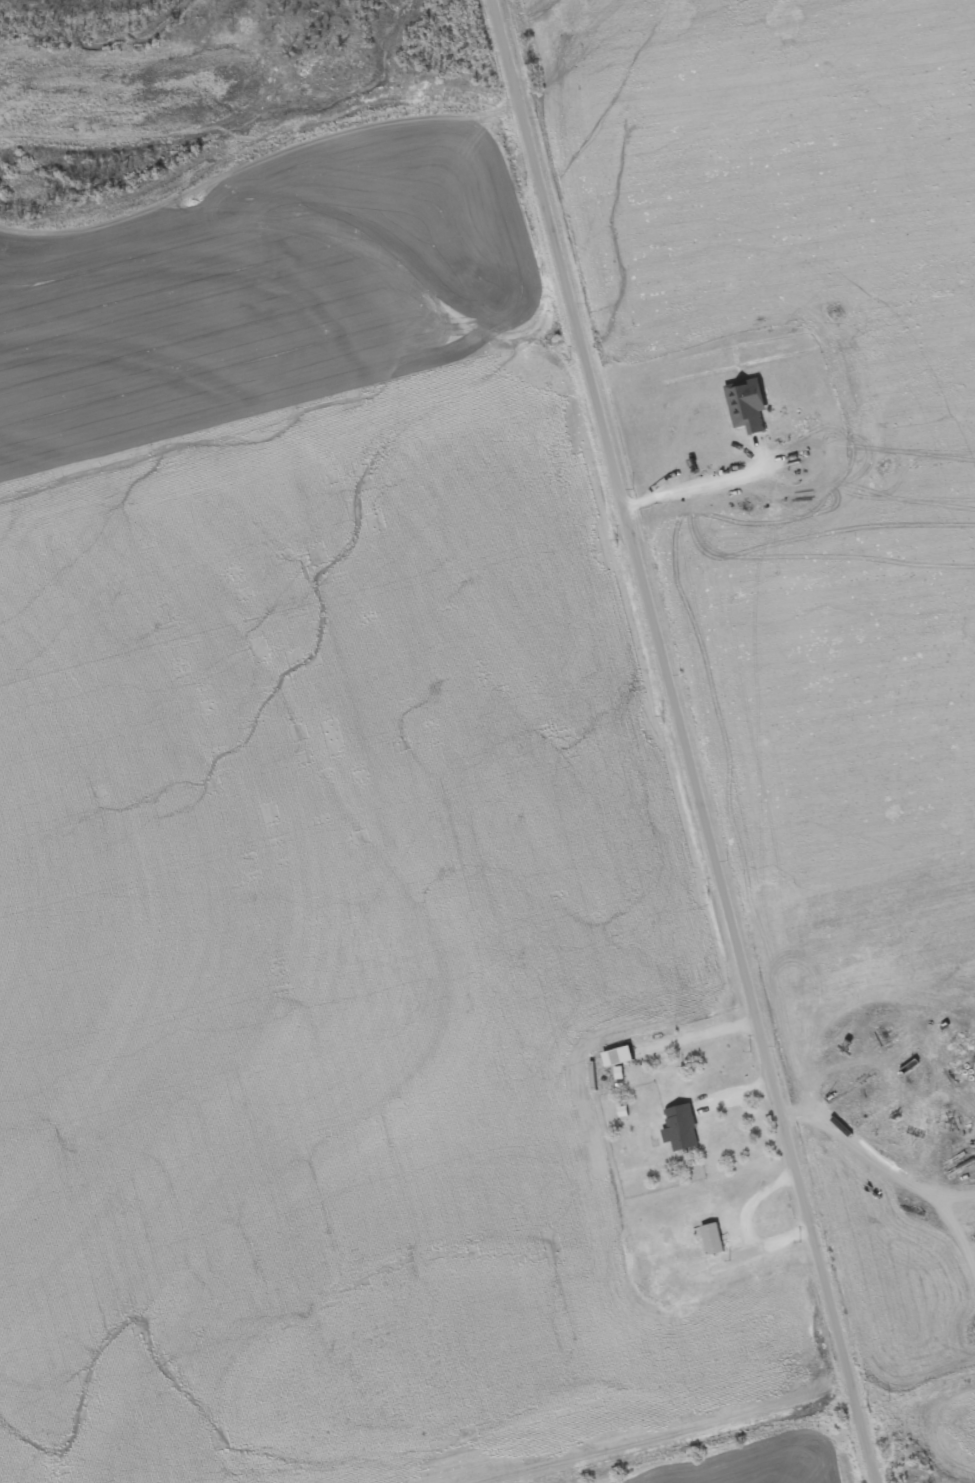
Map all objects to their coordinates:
building: (745, 411)
road: (690, 741)
road: (711, 1031)
building: (617, 1063)
building: (618, 1080)
building: (680, 1135)
road: (747, 1222)
building: (712, 1246)
building: (698, 1274)

